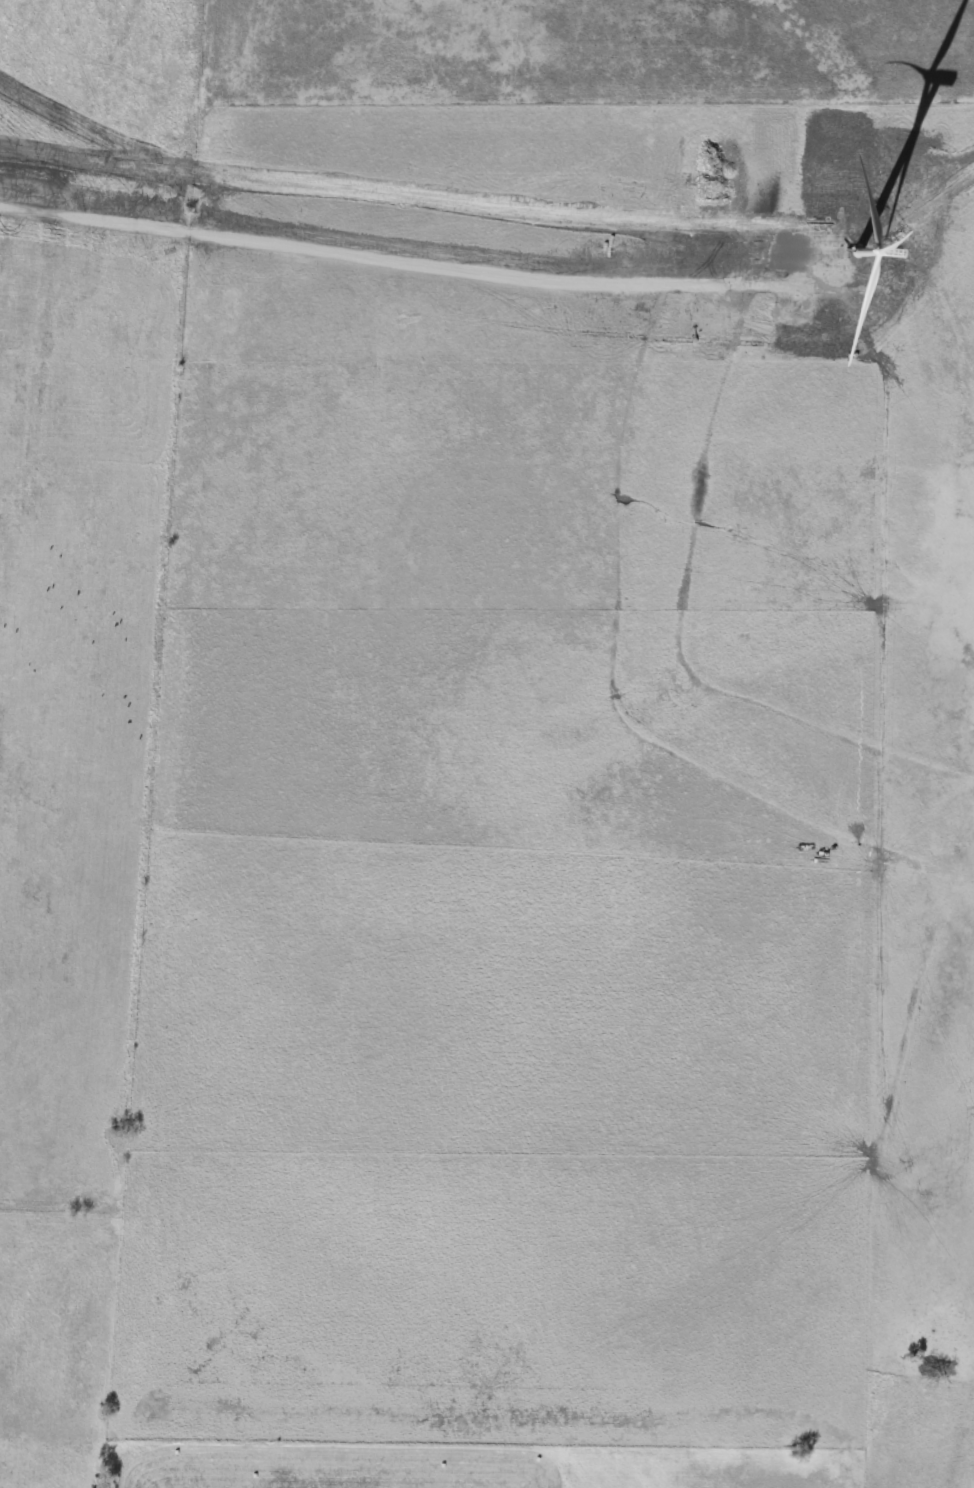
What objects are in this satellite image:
wind turbine: (850, 258)

